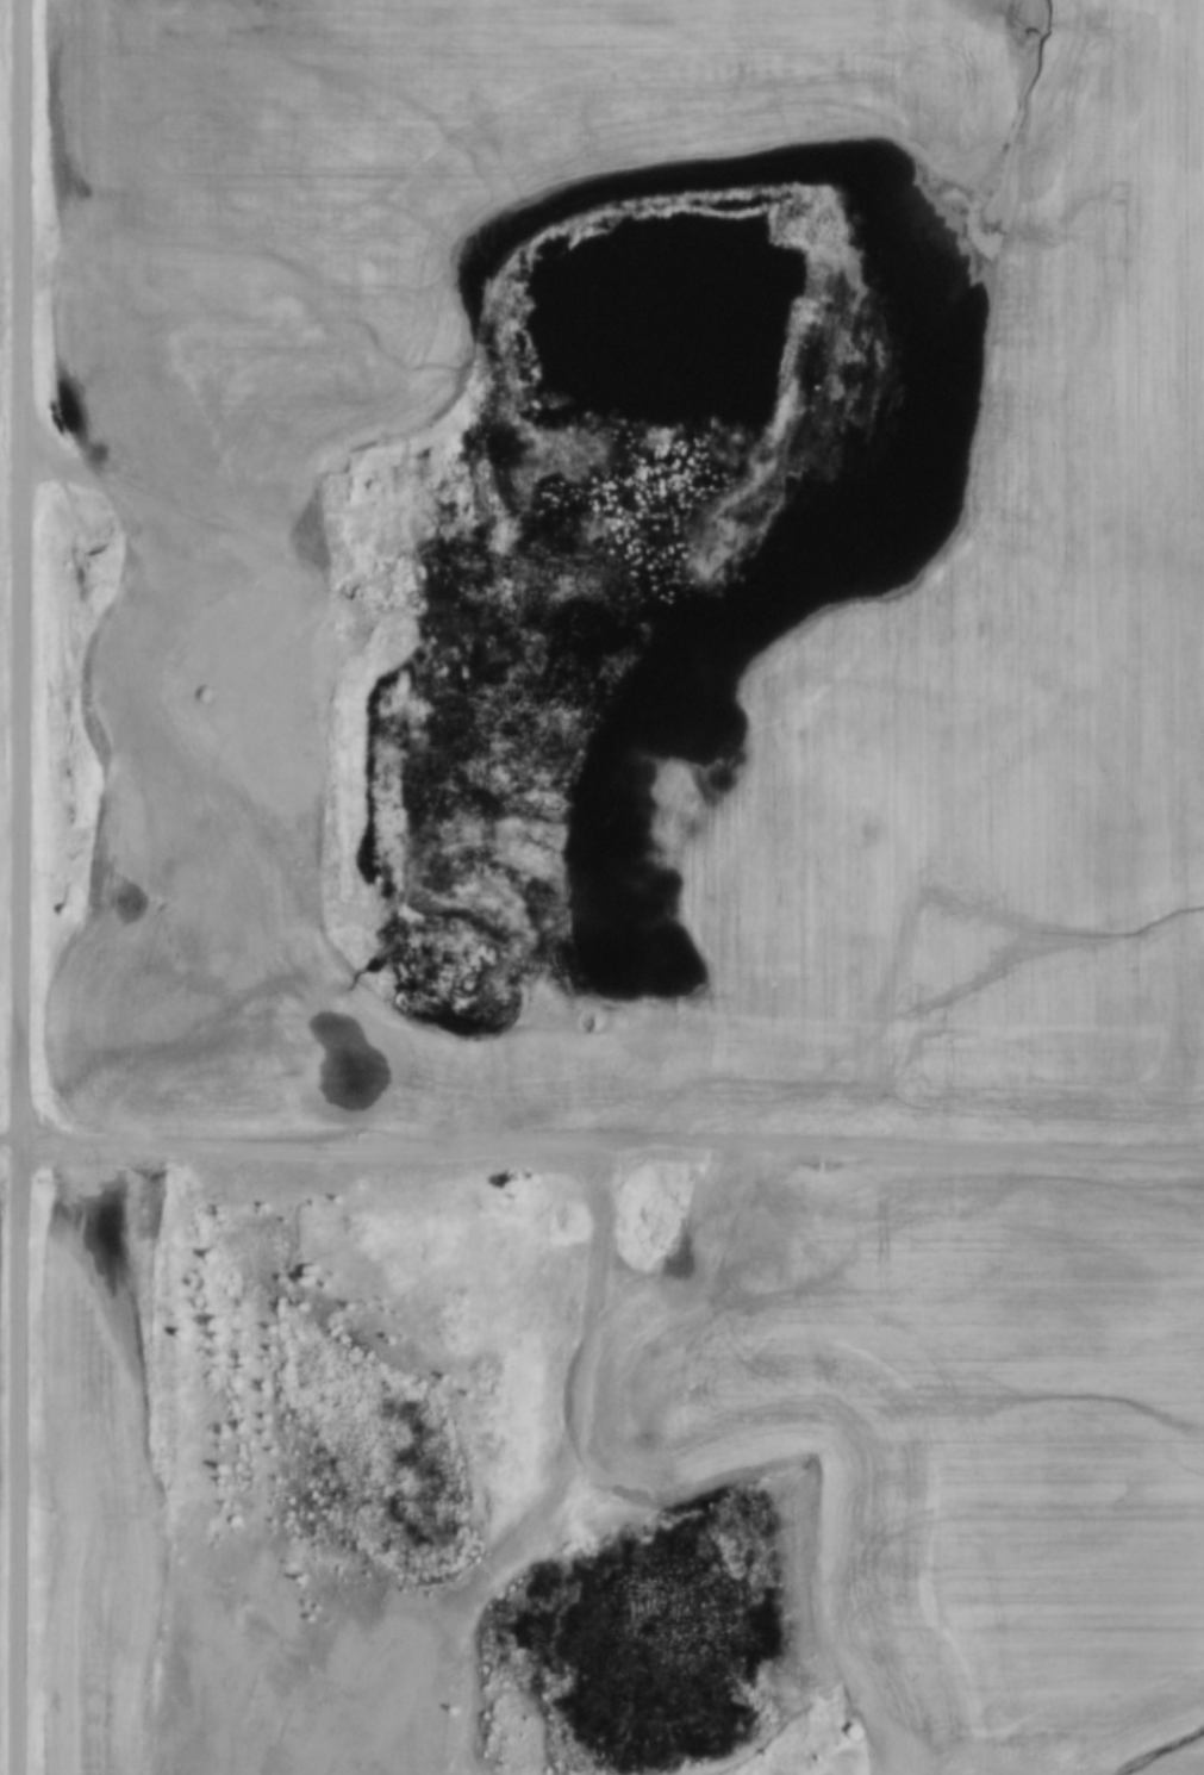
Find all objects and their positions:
quarry: (305, 683)
road: (313, 728)
road: (15, 887)
road: (7, 1140)
road: (239, 1145)
road: (834, 1146)
quarry: (282, 1655)

